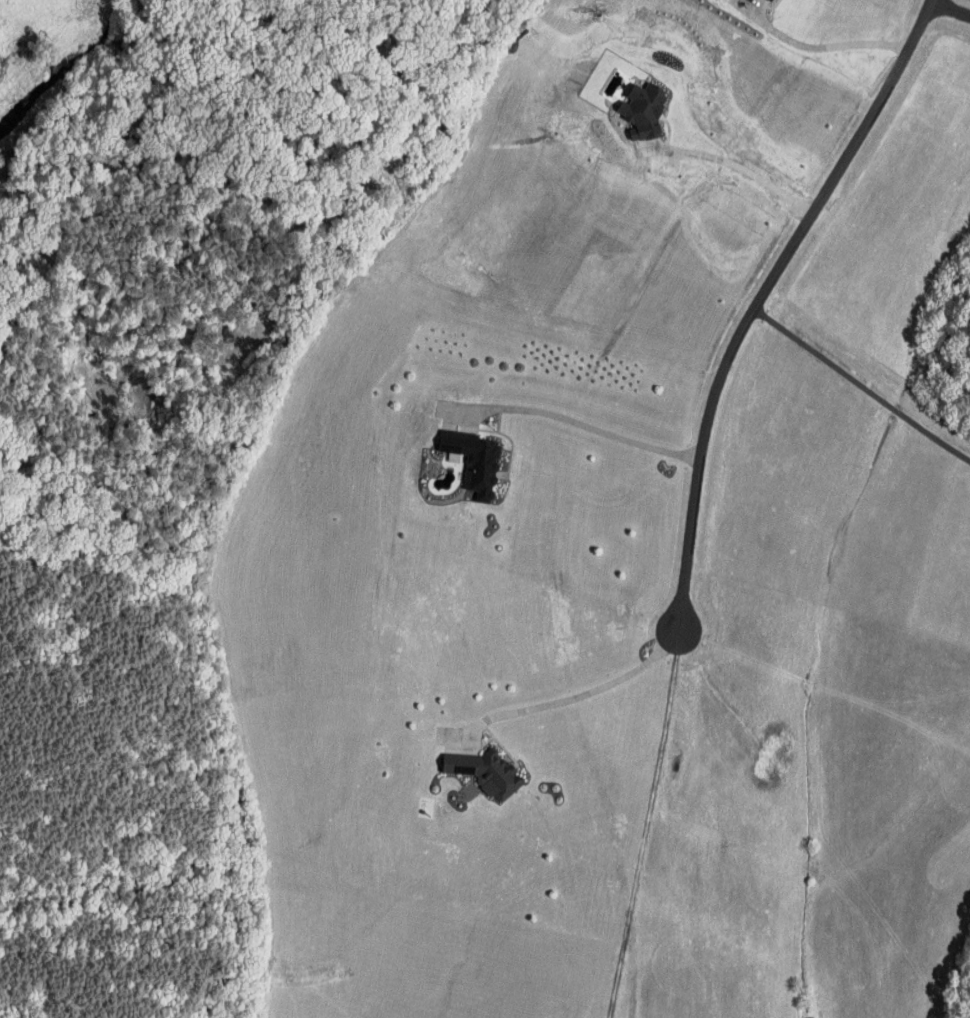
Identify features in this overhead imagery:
building: (770, 0)
road: (950, 6)
road: (822, 48)
road: (761, 298)
road: (862, 384)
road: (574, 414)
road: (501, 417)
building: (470, 448)
road: (511, 455)
road: (564, 695)
building: (479, 763)

